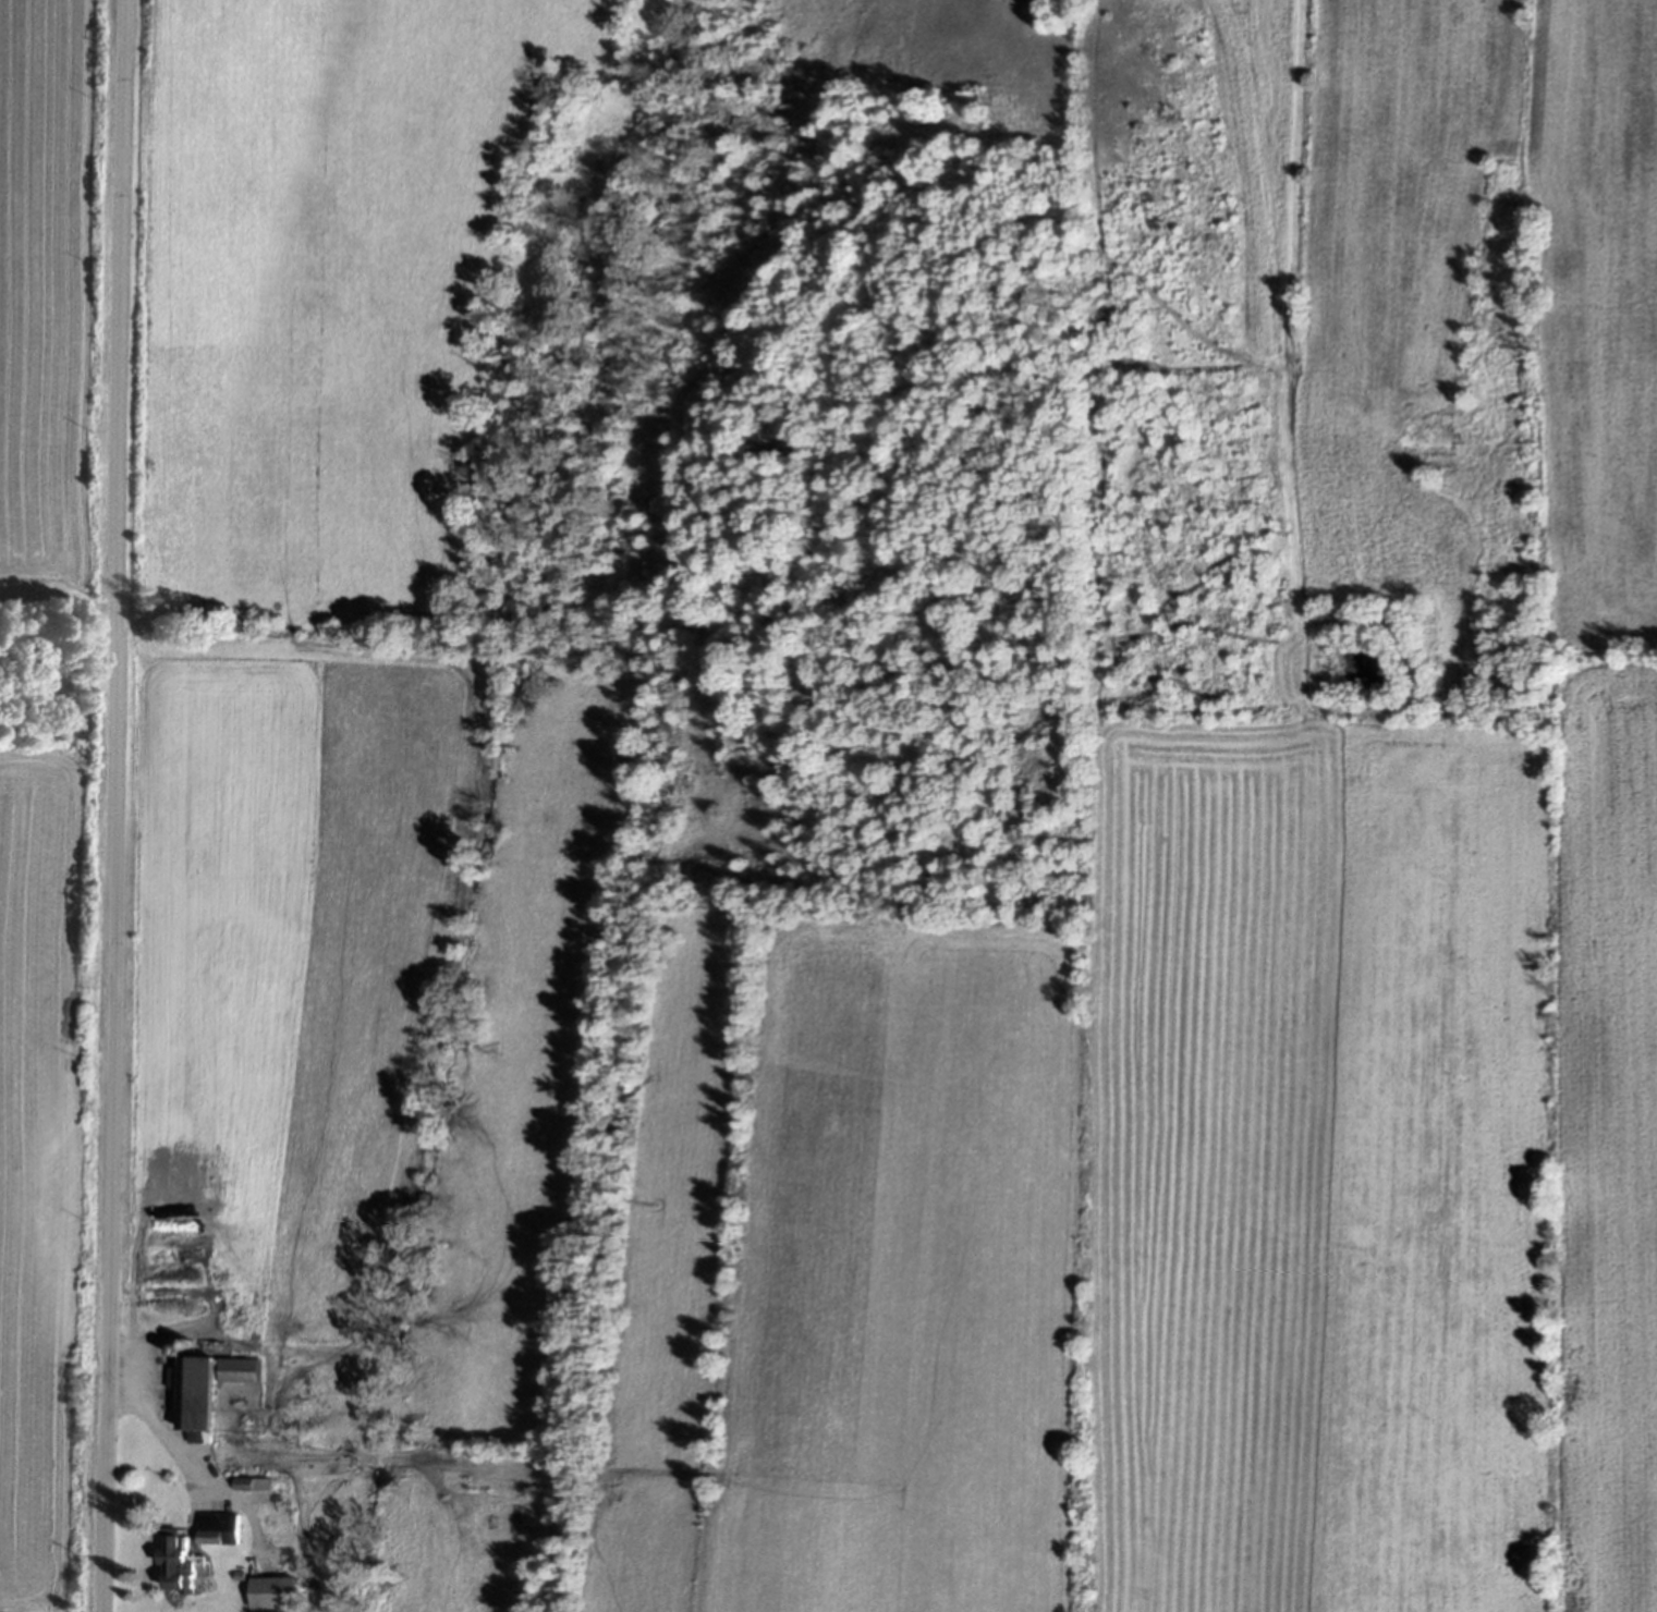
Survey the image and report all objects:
road: (119, 806)
building: (235, 1371)
building: (191, 1393)
road: (158, 1428)
building: (249, 1485)
building: (215, 1525)
building: (172, 1560)
building: (270, 1595)

